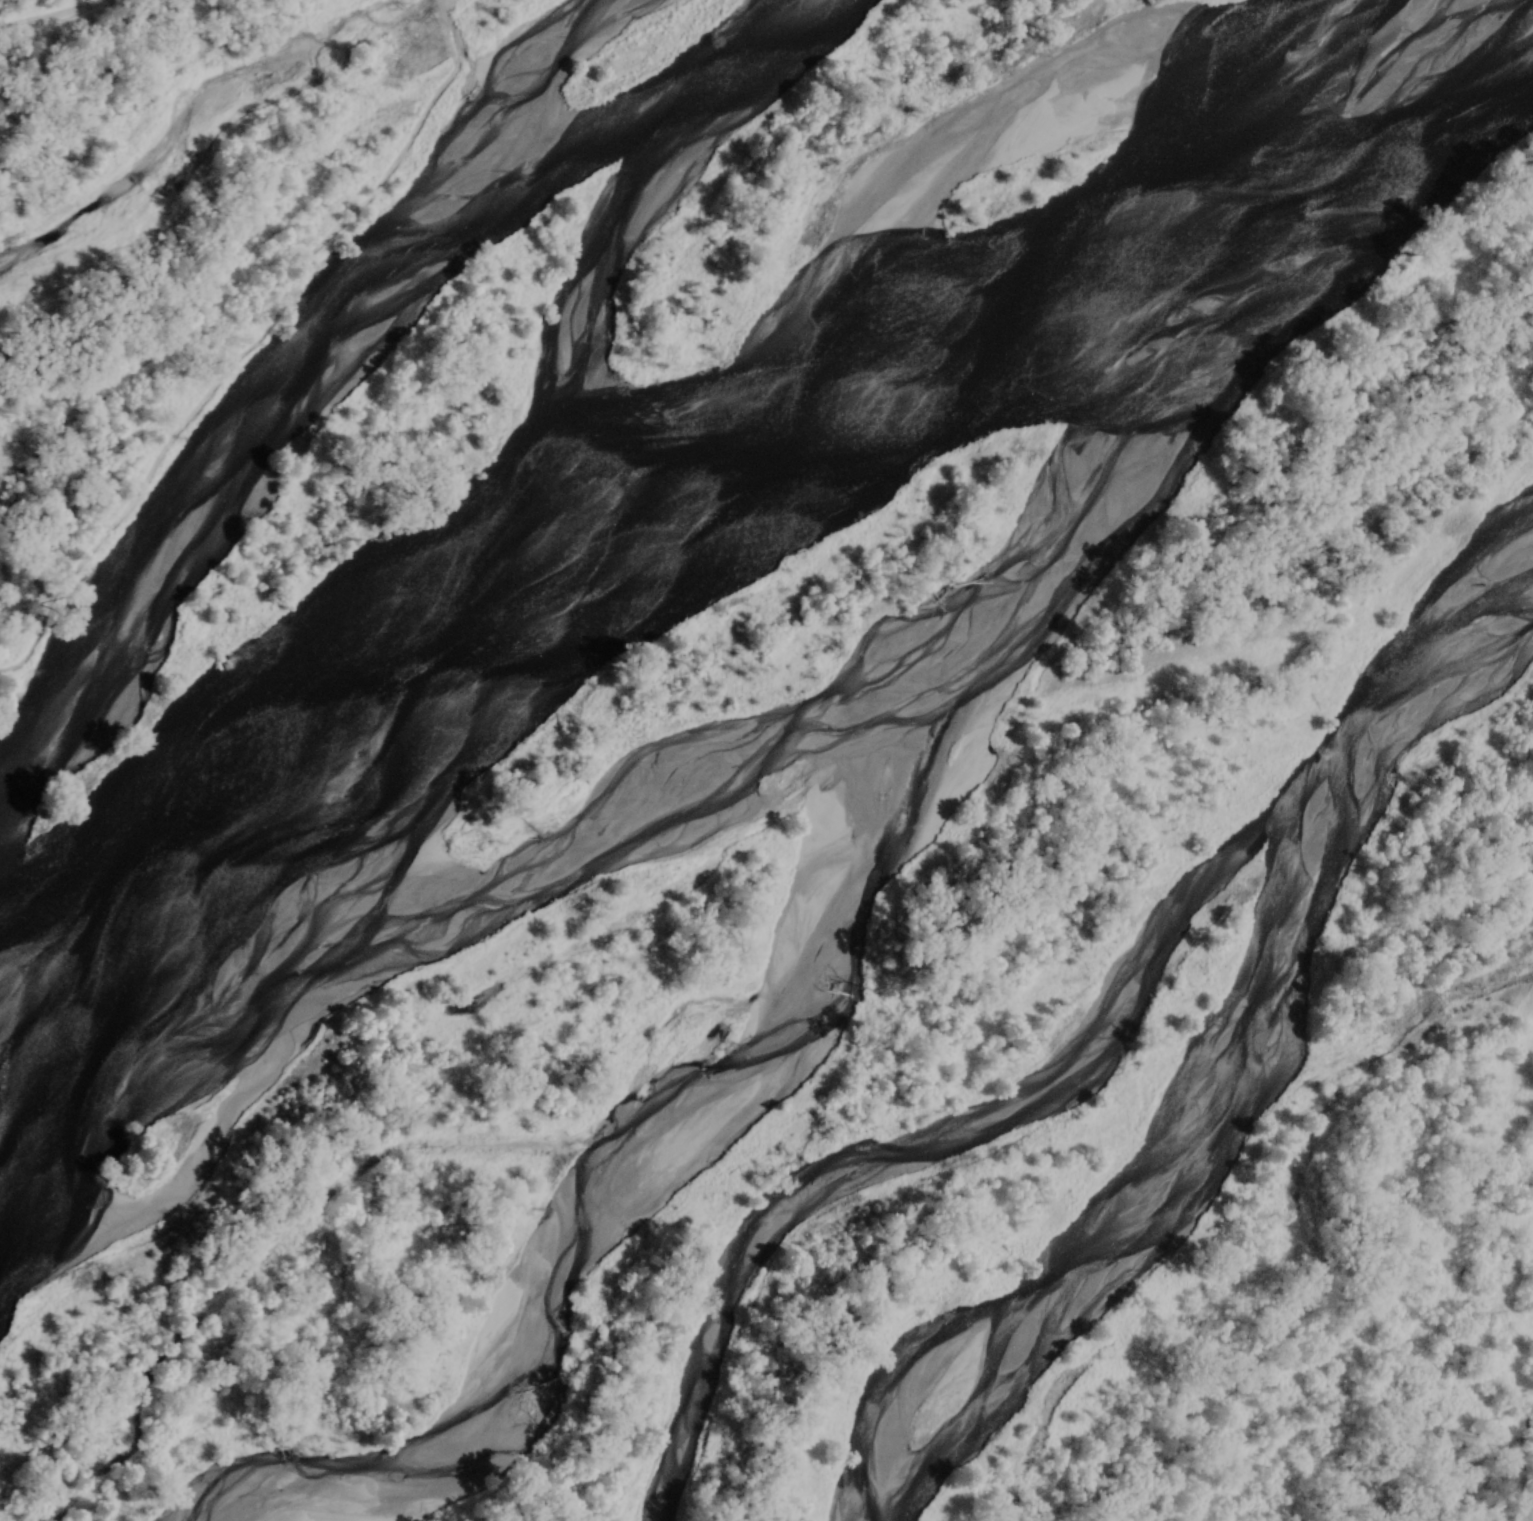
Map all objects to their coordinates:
river: (696, 469)

